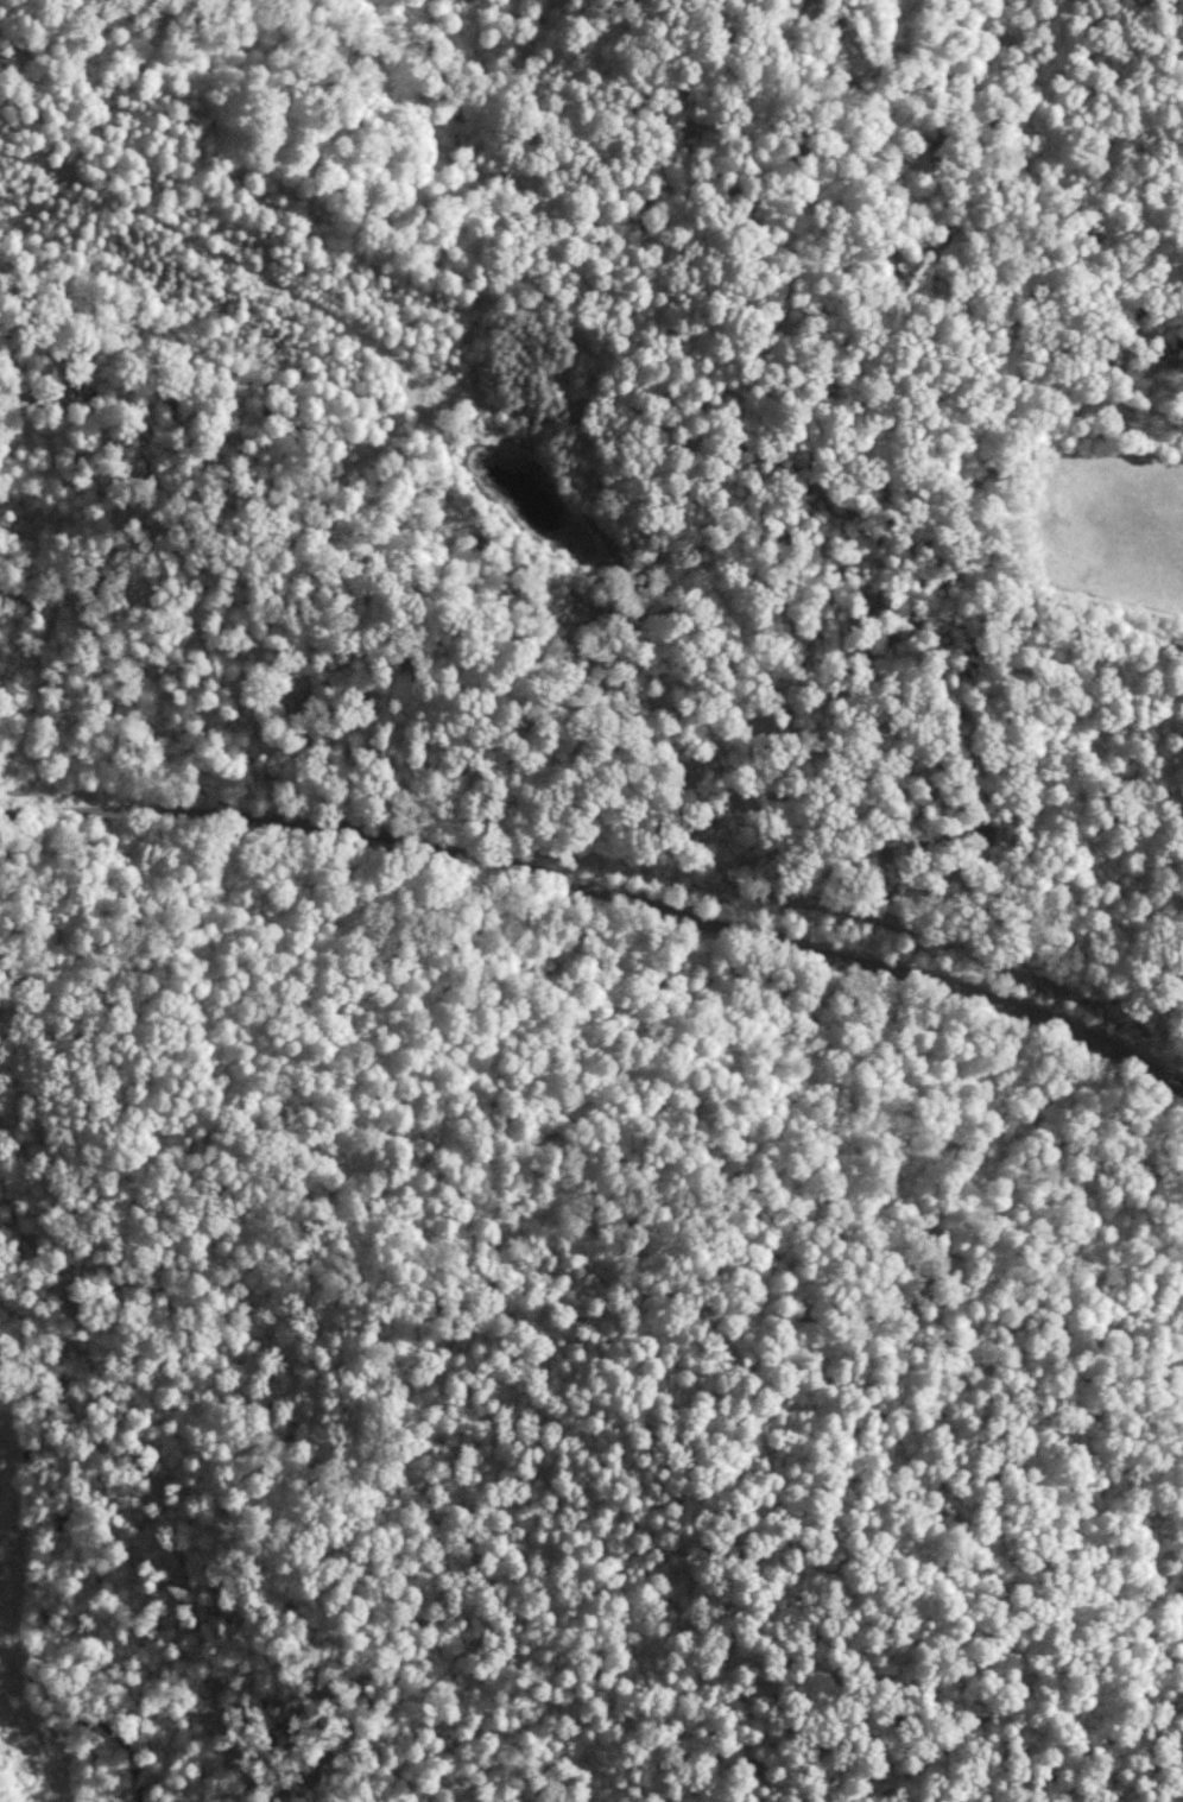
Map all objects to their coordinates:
road: (603, 891)

